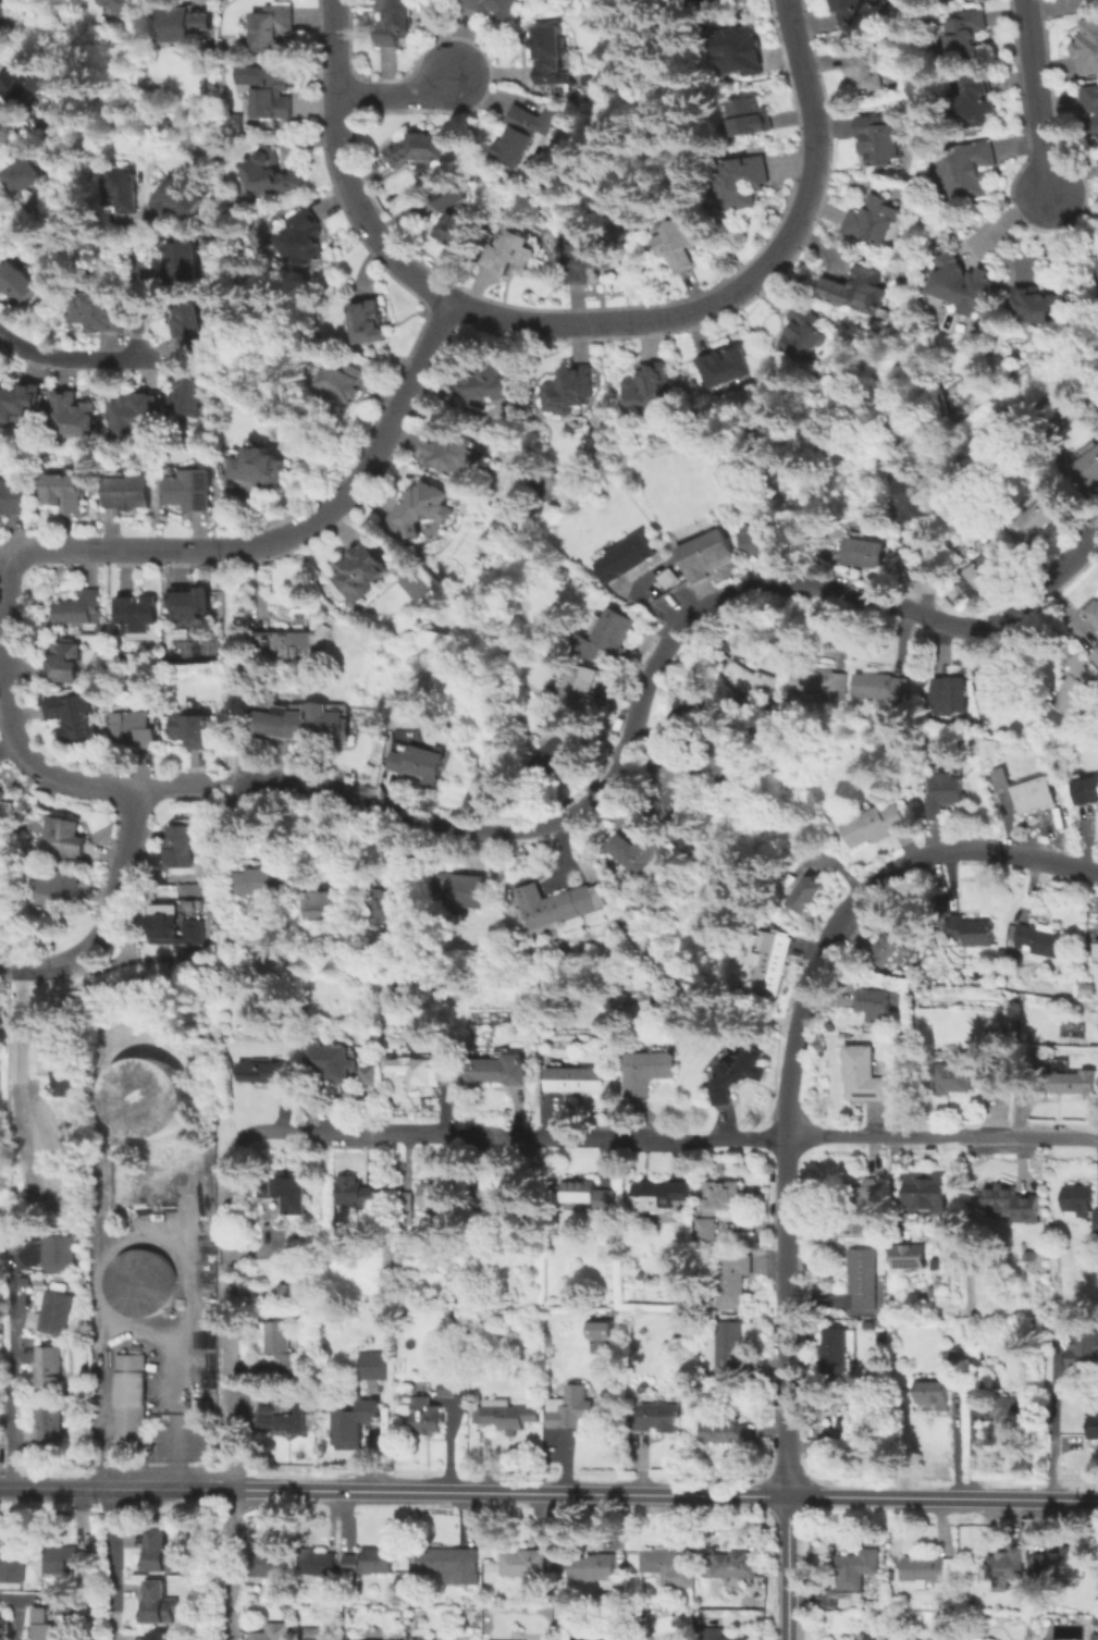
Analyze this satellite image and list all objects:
building: (942, 0)
building: (705, 1)
building: (119, 4)
building: (493, 8)
building: (849, 12)
building: (5, 17)
building: (393, 21)
building: (182, 23)
building: (270, 26)
building: (961, 35)
building: (1088, 47)
building: (547, 52)
building: (740, 52)
building: (865, 64)
building: (24, 83)
road: (394, 90)
building: (270, 93)
road: (1034, 98)
building: (975, 101)
building: (1093, 108)
building: (748, 118)
building: (517, 135)
building: (879, 139)
building: (419, 149)
road: (341, 171)
building: (966, 171)
building: (26, 174)
building: (268, 174)
building: (741, 181)
building: (122, 189)
building: (449, 196)
building: (176, 197)
building: (872, 220)
building: (457, 230)
building: (300, 238)
building: (676, 245)
building: (508, 252)
building: (181, 258)
building: (585, 262)
road: (743, 282)
building: (17, 283)
building: (962, 285)
building: (856, 288)
road: (134, 297)
building: (1037, 305)
building: (95, 312)
building: (365, 322)
building: (187, 324)
building: (801, 332)
road: (66, 359)
building: (725, 366)
building: (342, 384)
building: (485, 384)
building: (649, 386)
building: (567, 392)
building: (193, 396)
building: (20, 403)
building: (136, 414)
building: (73, 416)
building: (448, 452)
road: (367, 458)
building: (264, 468)
building: (1087, 470)
building: (192, 491)
building: (64, 492)
building: (127, 493)
building: (12, 496)
building: (916, 498)
building: (420, 509)
building: (1039, 516)
building: (767, 538)
road: (1, 547)
road: (113, 547)
building: (863, 552)
building: (626, 556)
building: (710, 558)
building: (985, 570)
building: (361, 572)
building: (670, 575)
park: (409, 582)
building: (190, 603)
building: (78, 608)
building: (138, 613)
building: (1094, 613)
building: (613, 631)
building: (285, 653)
building: (1096, 655)
building: (65, 662)
road: (654, 667)
building: (749, 675)
building: (821, 685)
building: (884, 686)
building: (1076, 686)
building: (581, 689)
building: (996, 691)
building: (951, 693)
building: (73, 719)
building: (303, 726)
building: (195, 729)
building: (135, 730)
road: (16, 747)
building: (560, 750)
building: (717, 752)
building: (420, 764)
road: (220, 780)
building: (1026, 788)
building: (1086, 790)
building: (1, 792)
building: (945, 793)
building: (1, 798)
building: (677, 804)
building: (875, 824)
building: (63, 838)
building: (181, 847)
building: (636, 851)
building: (262, 881)
building: (59, 892)
building: (457, 893)
building: (805, 895)
road: (853, 895)
building: (384, 900)
building: (557, 903)
building: (326, 907)
road: (108, 913)
building: (175, 927)
building: (973, 932)
building: (1040, 940)
building: (1097, 947)
building: (890, 949)
building: (644, 953)
road: (128, 959)
building: (773, 963)
building: (1085, 988)
building: (876, 1003)
building: (1007, 1023)
building: (332, 1060)
building: (422, 1071)
building: (65, 1072)
building: (496, 1072)
building: (647, 1072)
building: (269, 1073)
building: (367, 1073)
building: (862, 1073)
building: (737, 1074)
building: (955, 1076)
building: (573, 1078)
building: (1071, 1078)
building: (143, 1096)
storage tank: (143, 1096)
road: (508, 1134)
road: (941, 1139)
building: (55, 1192)
building: (923, 1192)
building: (286, 1195)
building: (442, 1196)
building: (501, 1196)
building: (590, 1196)
building: (359, 1197)
building: (663, 1197)
building: (723, 1199)
building: (1077, 1199)
building: (861, 1205)
building: (1010, 1205)
building: (407, 1209)
building: (1096, 1220)
building: (705, 1232)
building: (743, 1238)
building: (50, 1250)
building: (905, 1254)
building: (1028, 1256)
building: (861, 1277)
building: (736, 1279)
building: (139, 1282)
storage tank: (139, 1282)
building: (53, 1315)
road: (786, 1318)
building: (597, 1329)
building: (282, 1346)
building: (730, 1348)
building: (837, 1348)
building: (1084, 1351)
building: (953, 1361)
building: (375, 1366)
building: (49, 1367)
building: (974, 1380)
building: (448, 1386)
road: (230, 1390)
building: (933, 1392)
road: (12, 1393)
building: (132, 1398)
building: (575, 1410)
building: (1015, 1413)
building: (502, 1416)
building: (425, 1417)
building: (658, 1417)
building: (285, 1420)
building: (851, 1421)
building: (50, 1423)
building: (357, 1426)
building: (1096, 1426)
road: (1053, 1431)
building: (725, 1432)
road: (954, 1438)
road: (970, 1447)
road: (110, 1488)
road: (226, 1489)
road: (509, 1492)
road: (942, 1497)
building: (161, 1553)
building: (12, 1559)
building: (73, 1562)
building: (1064, 1562)
building: (263, 1563)
building: (317, 1563)
building: (369, 1563)
building: (1038, 1563)
building: (452, 1564)
building: (733, 1564)
road: (110, 1565)
building: (602, 1566)
building: (1008, 1566)
building: (527, 1567)
building: (667, 1567)
road: (787, 1568)
building: (856, 1569)
building: (928, 1570)
building: (842, 1596)
building: (160, 1605)
building: (63, 1606)
building: (1095, 1619)
building: (46, 1627)
building: (274, 1633)
building: (316, 1635)
building: (713, 1635)
building: (160, 1637)
building: (871, 1637)
building: (366, 1639)
building: (434, 1639)
building: (543, 1639)
building: (599, 1639)
building: (918, 1639)
building: (941, 1639)
building: (967, 1639)
building: (979, 1639)

